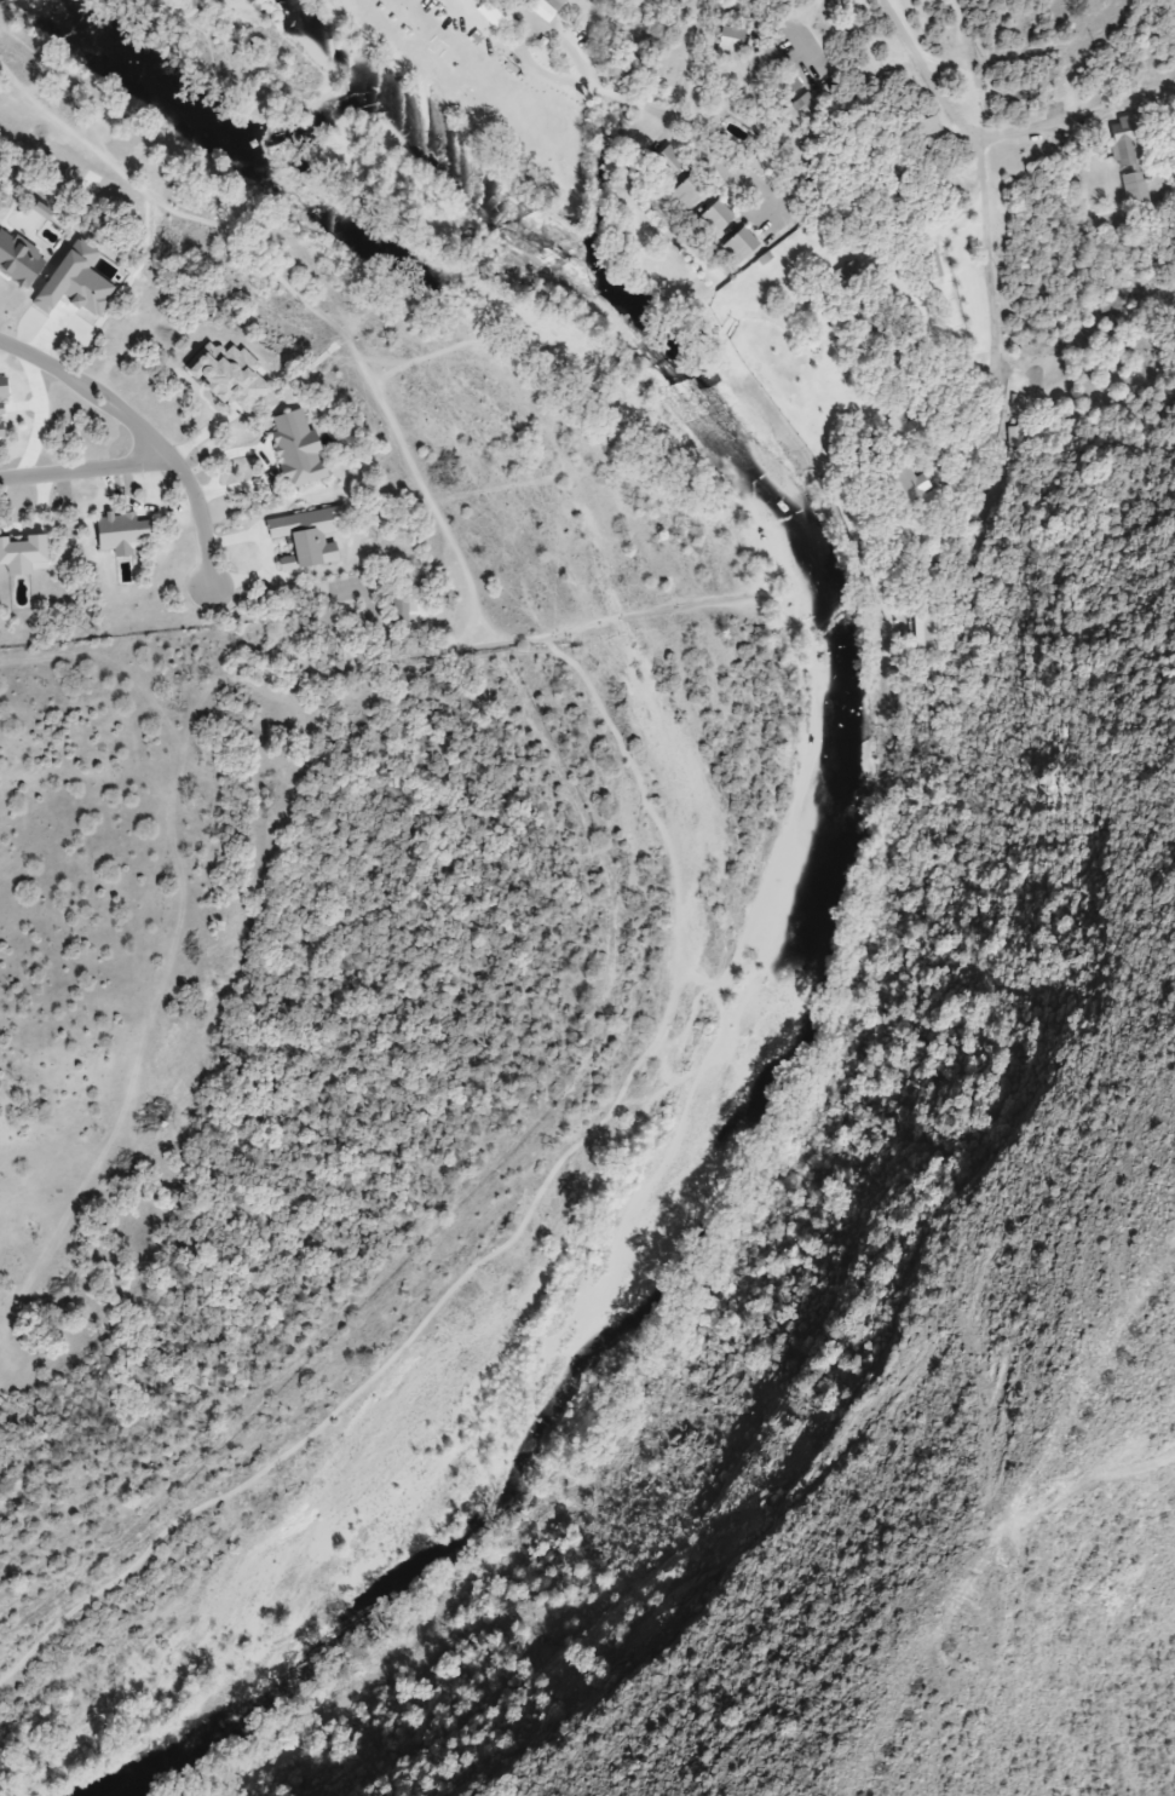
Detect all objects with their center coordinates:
building: (548, 4)
road: (467, 16)
building: (727, 42)
building: (762, 61)
building: (782, 85)
building: (802, 110)
building: (926, 126)
building: (1127, 142)
building: (663, 163)
building: (1135, 189)
building: (686, 191)
building: (713, 218)
building: (738, 246)
road: (149, 434)
building: (1018, 437)
building: (905, 438)
road: (86, 470)
building: (397, 614)
building: (926, 632)
river: (834, 845)

